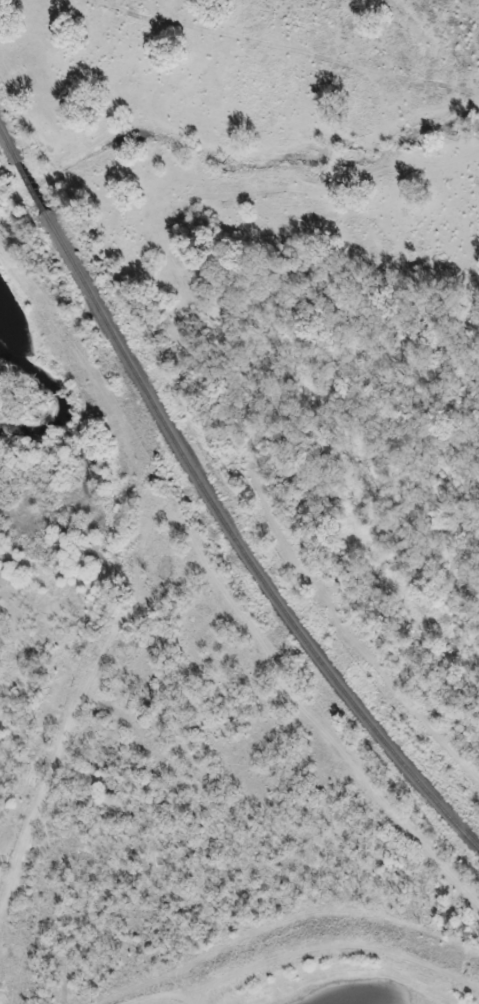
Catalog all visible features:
railway: (215, 514)

